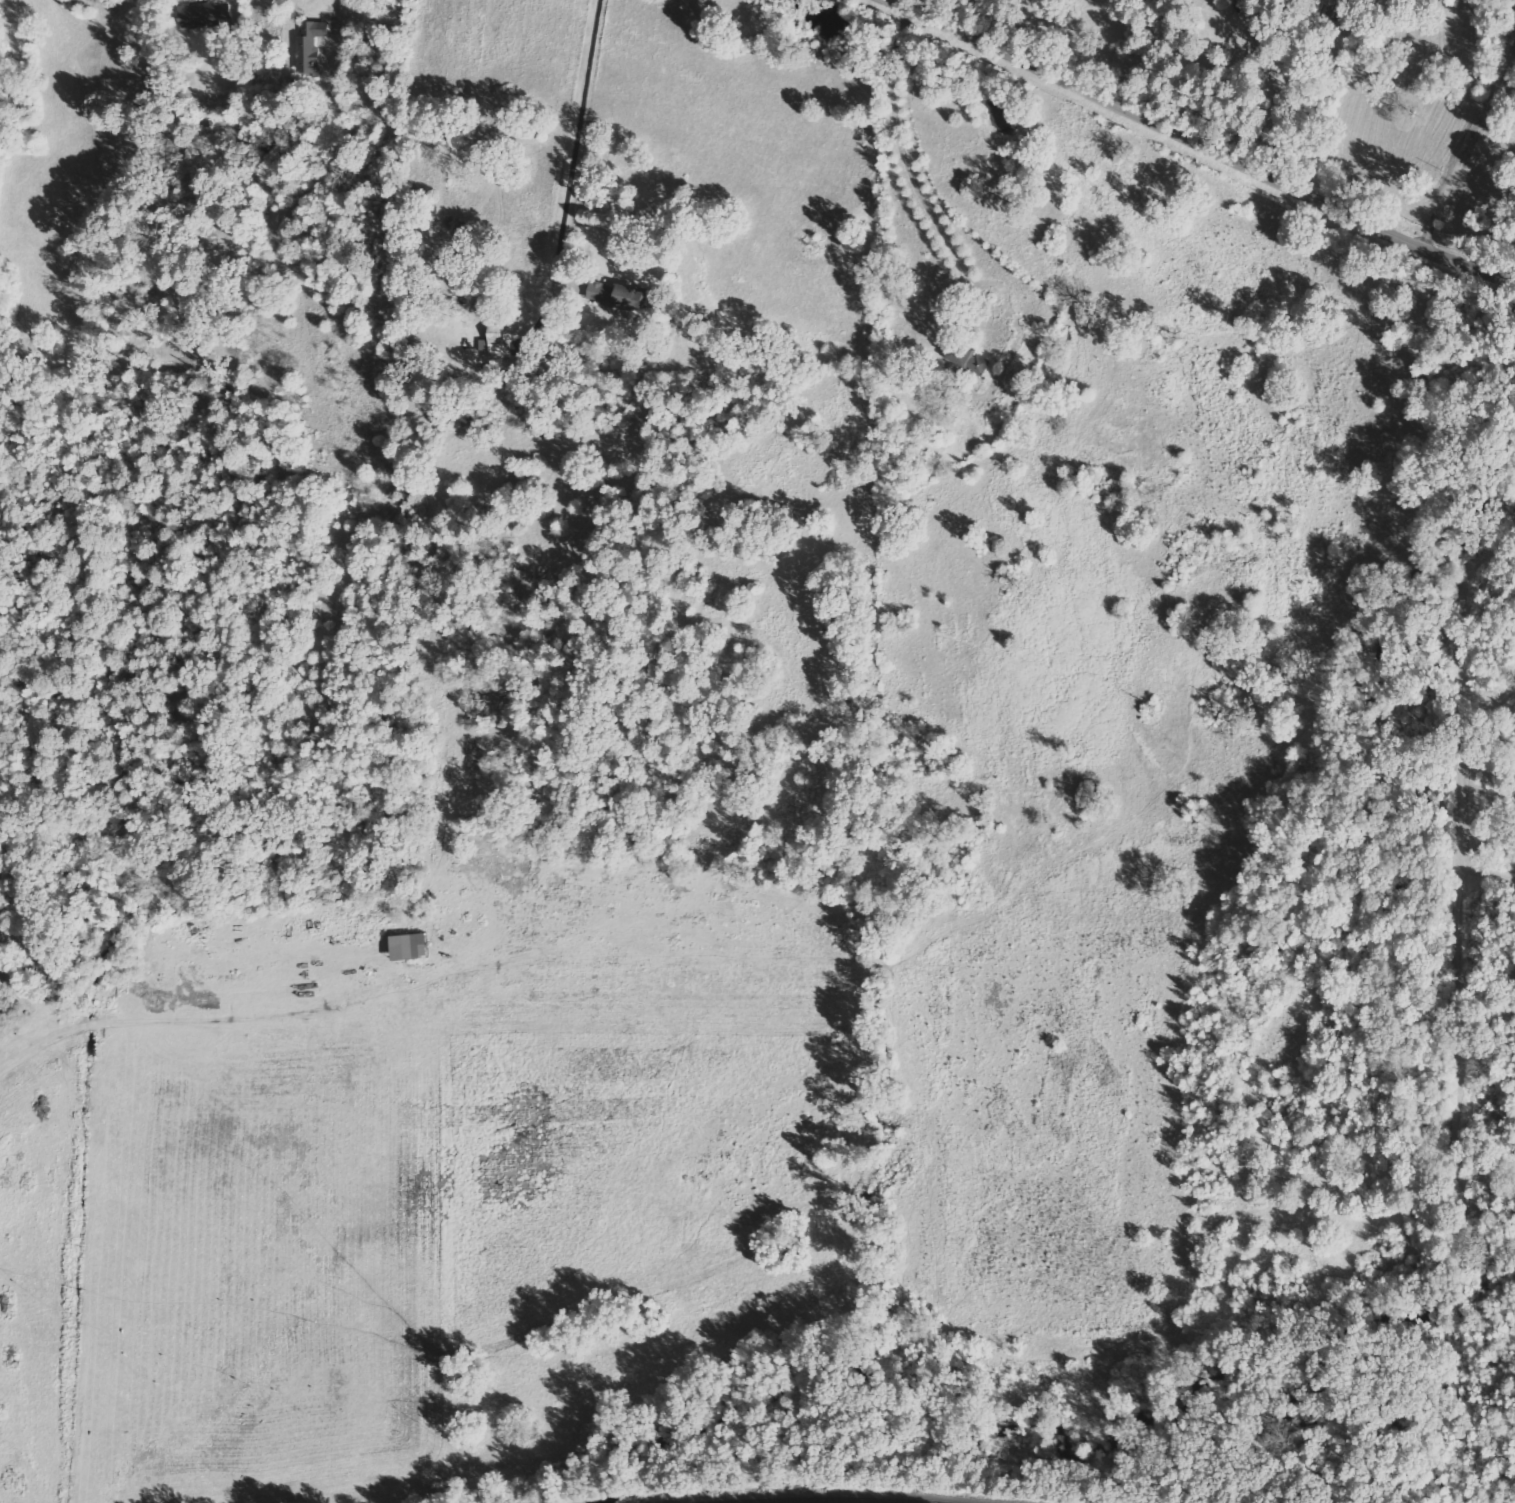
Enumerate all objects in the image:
building: (208, 16)
building: (311, 44)
road: (1197, 145)
building: (618, 295)
building: (496, 341)
building: (971, 360)
building: (413, 946)
railway: (832, 1500)

